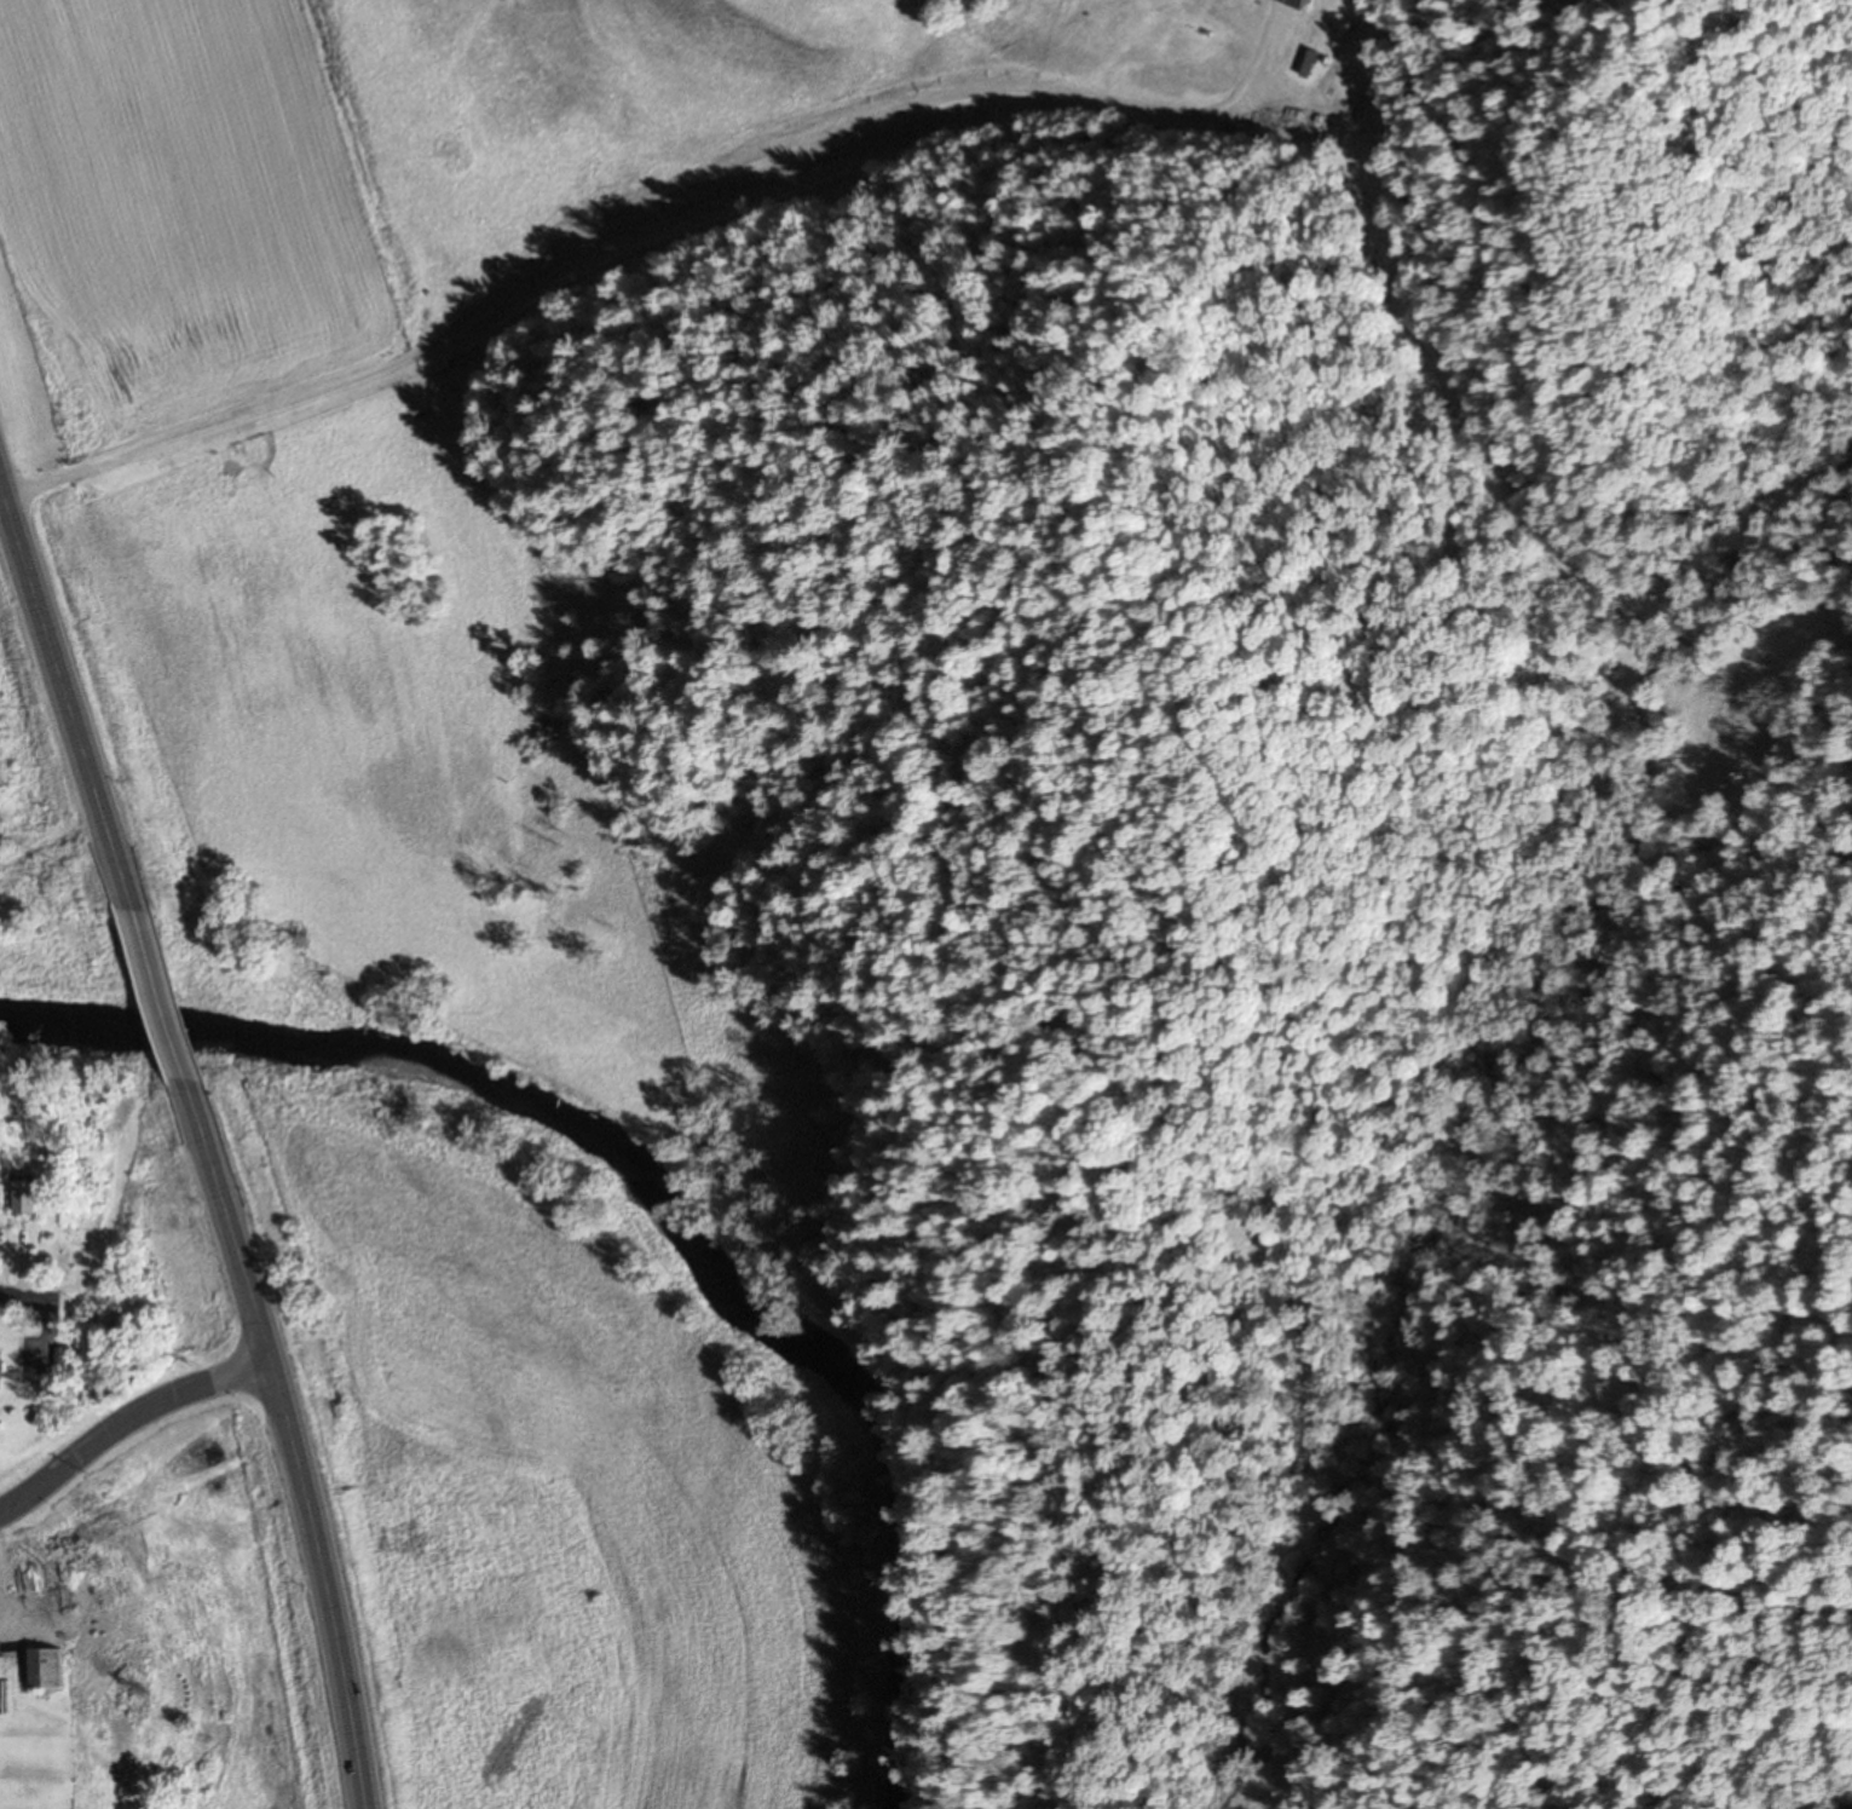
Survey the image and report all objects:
building: (1294, 4)
road: (601, 223)
road: (69, 691)
road: (163, 998)
building: (31, 1196)
river: (654, 1206)
road: (231, 1220)
road: (44, 1300)
building: (1, 1373)
road: (128, 1428)
road: (329, 1580)
building: (46, 1594)
building: (48, 1669)

